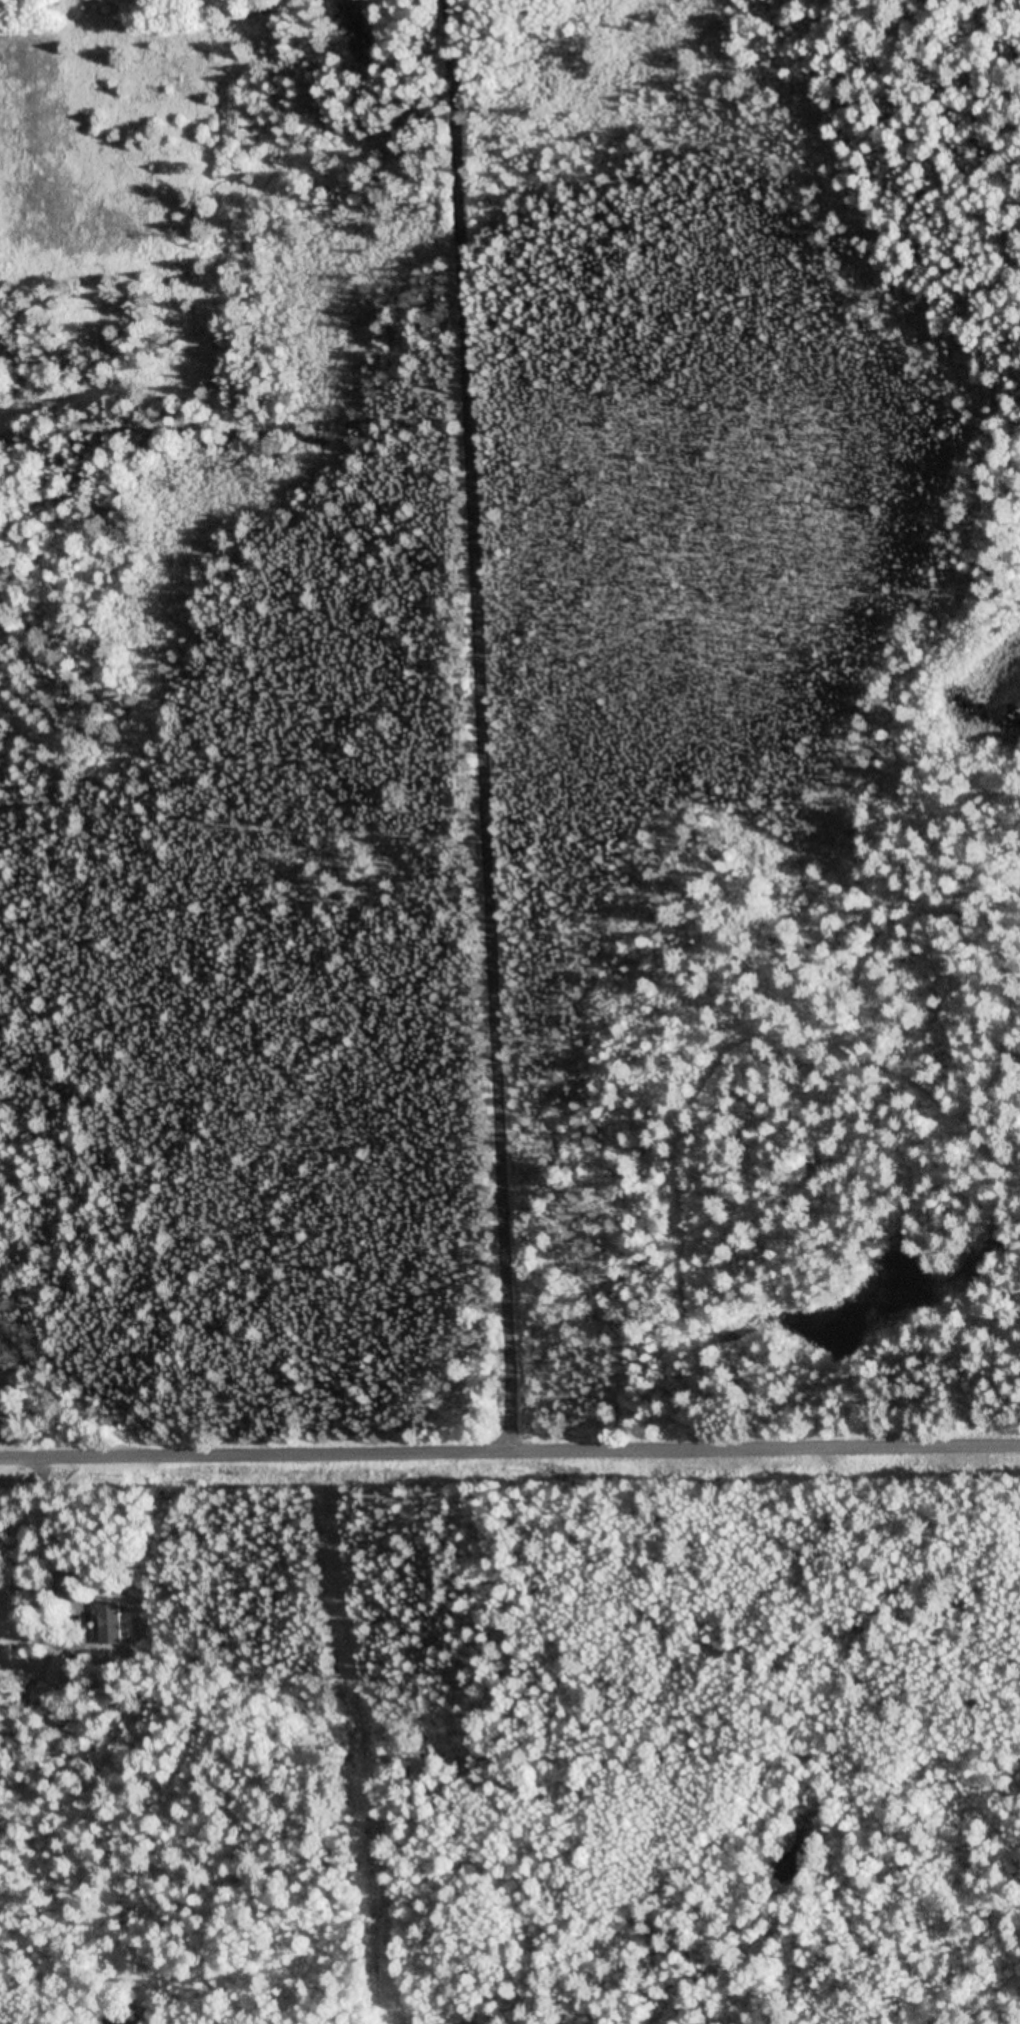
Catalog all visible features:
road: (465, 722)
road: (509, 1444)
building: (113, 1620)

